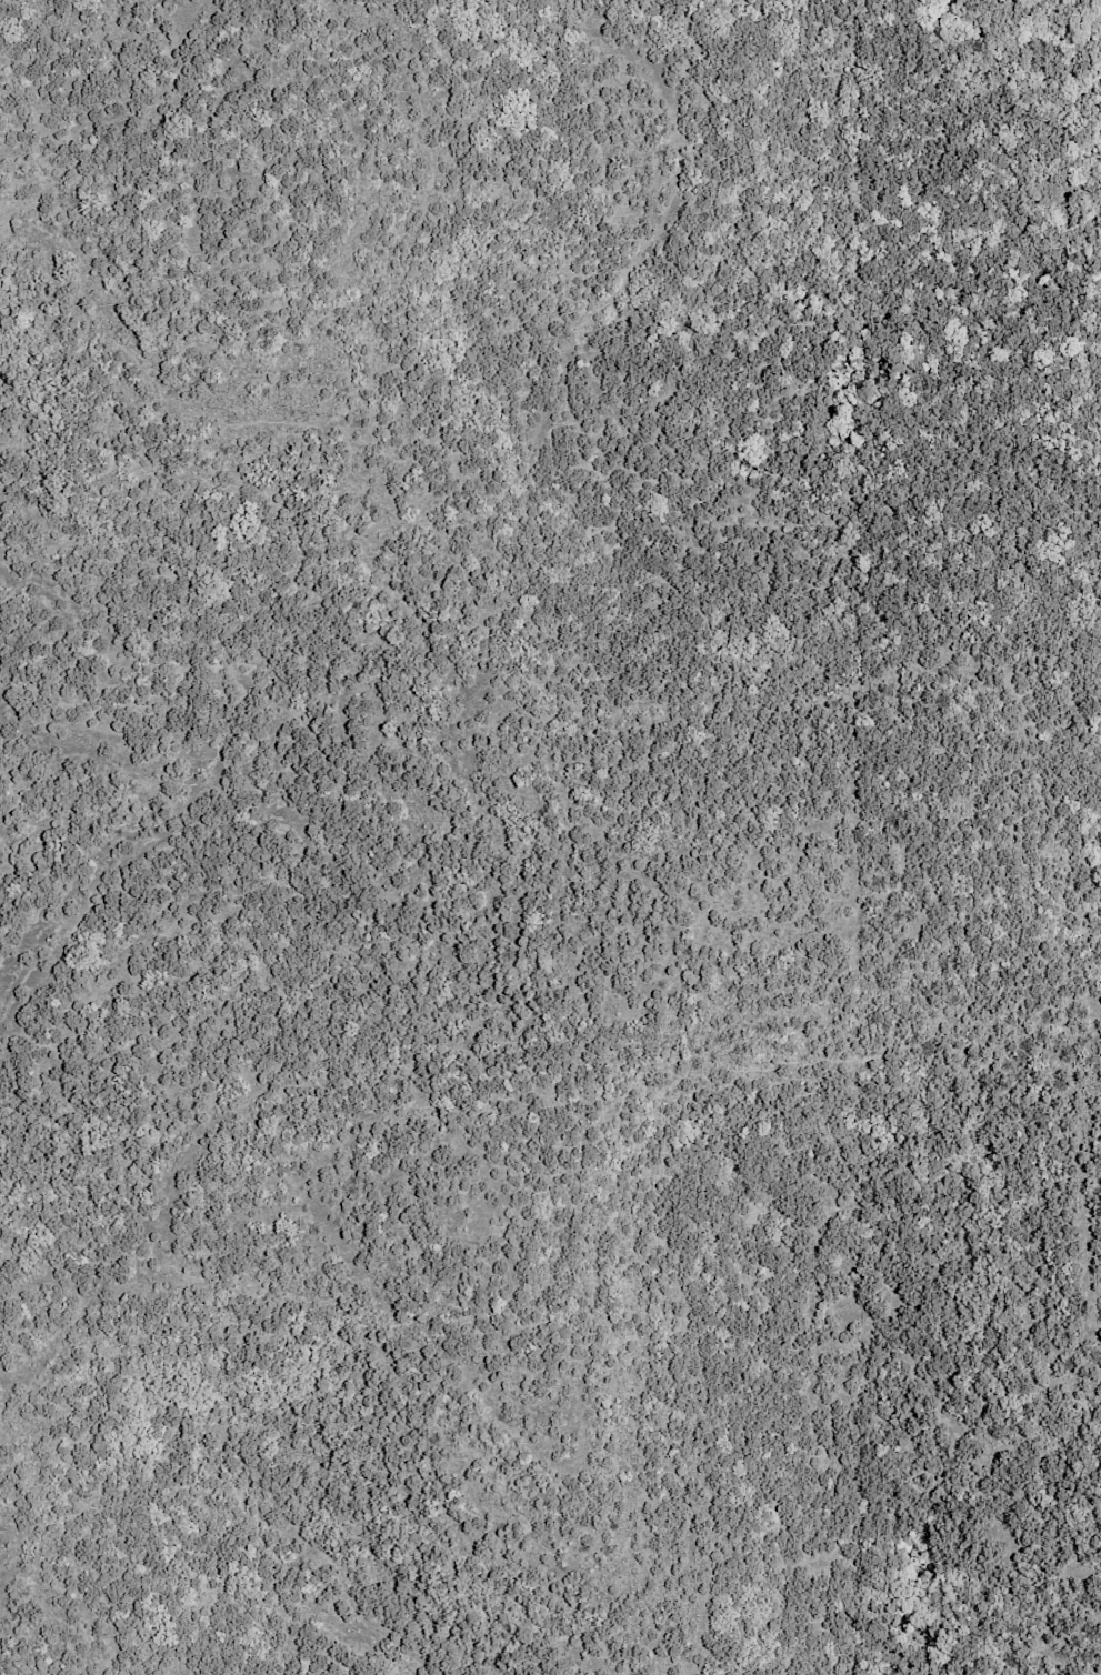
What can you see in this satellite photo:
park: (1083, 151)

